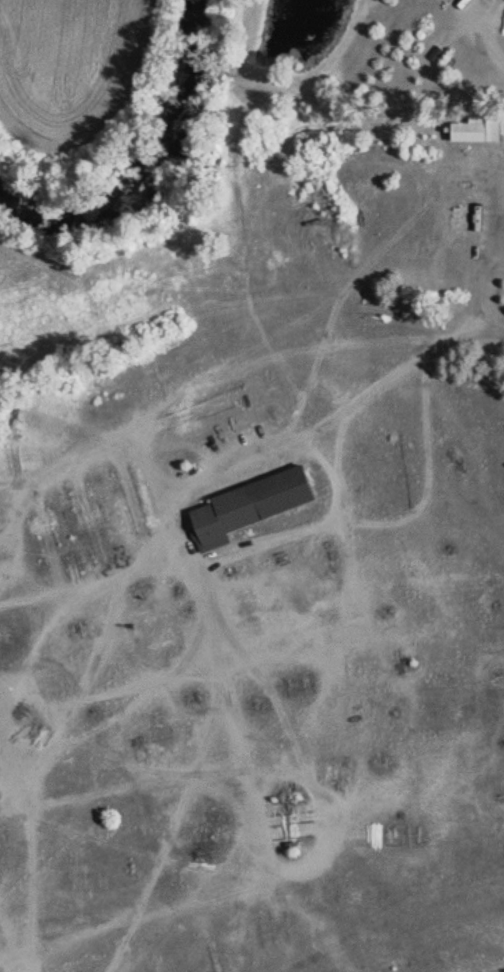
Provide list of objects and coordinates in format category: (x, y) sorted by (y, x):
road: (490, 37)
building: (483, 125)
road: (488, 267)
road: (244, 452)
building: (254, 505)

